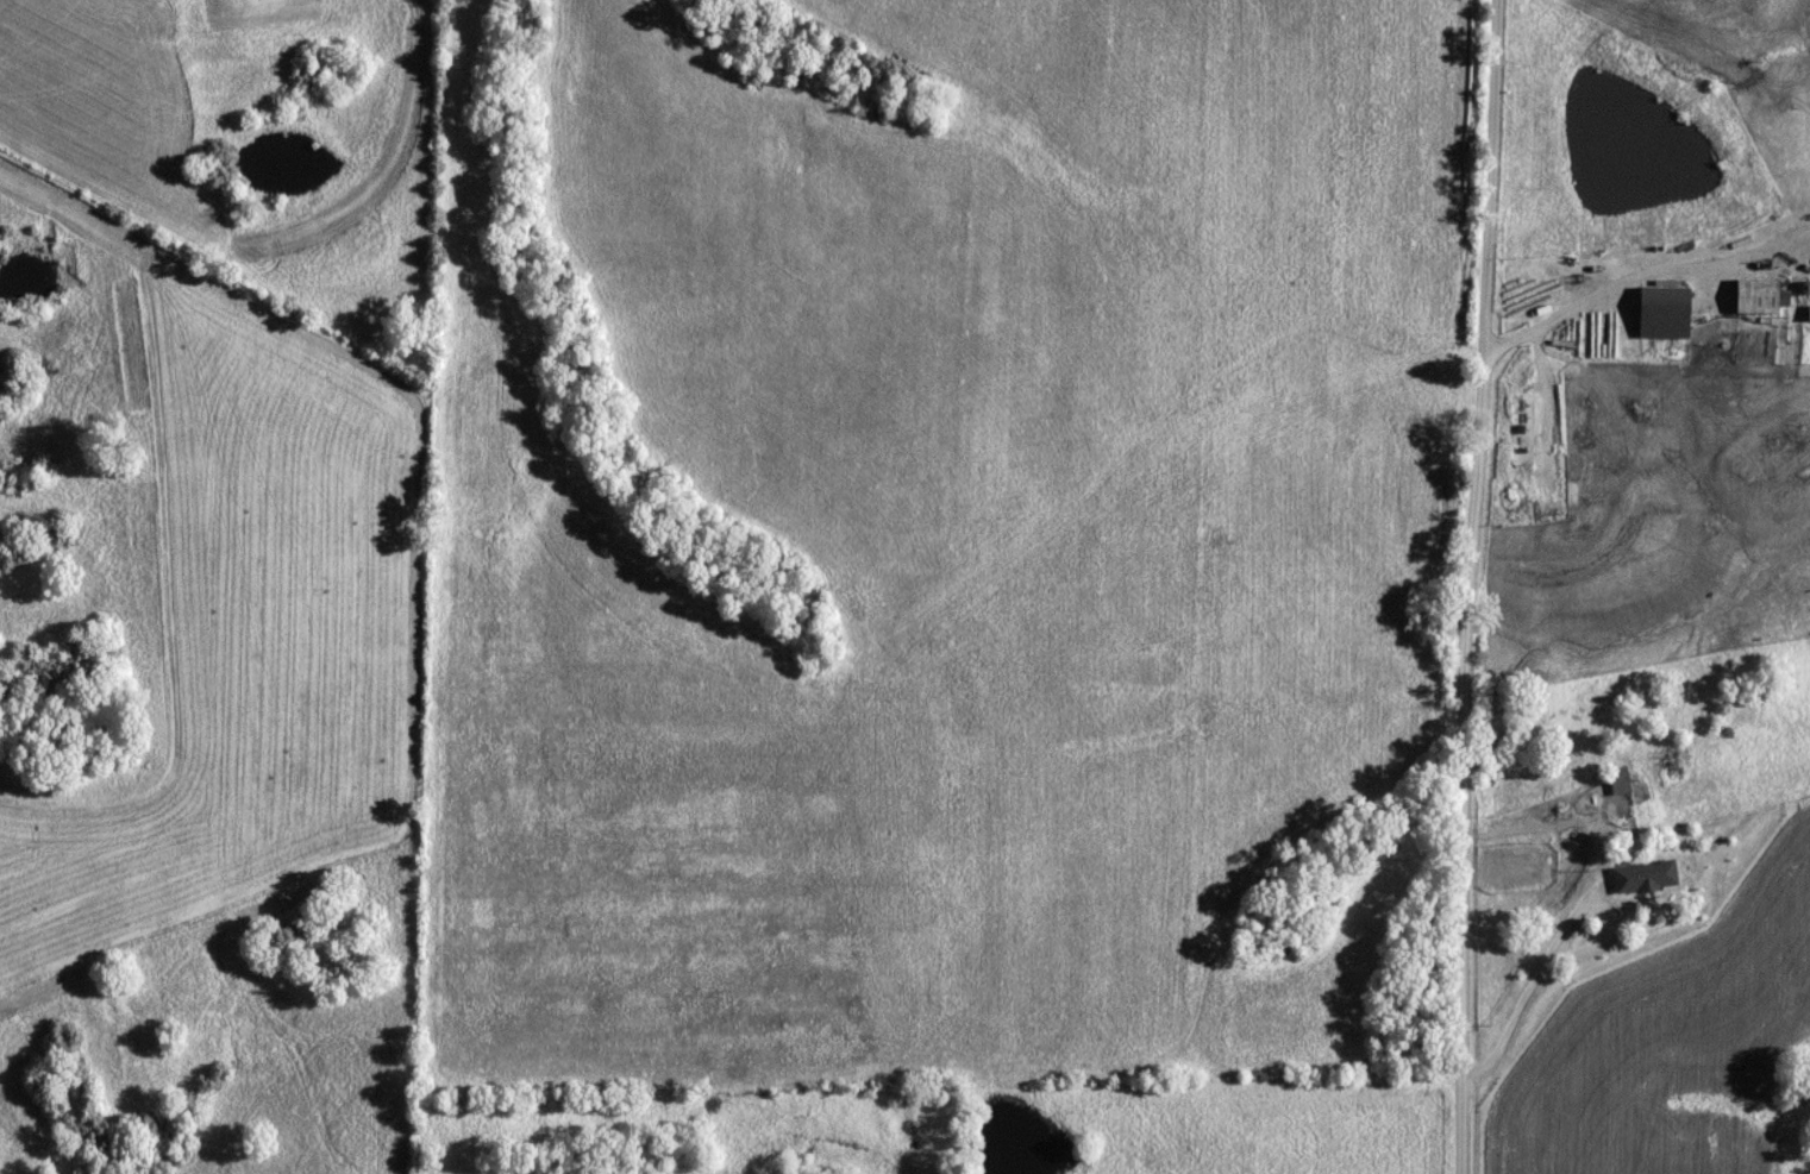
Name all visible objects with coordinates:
building: (1753, 297)
building: (1660, 313)
building: (1806, 314)
road: (1566, 315)
road: (1478, 586)
building: (1618, 783)
building: (1636, 881)
road: (1551, 936)

